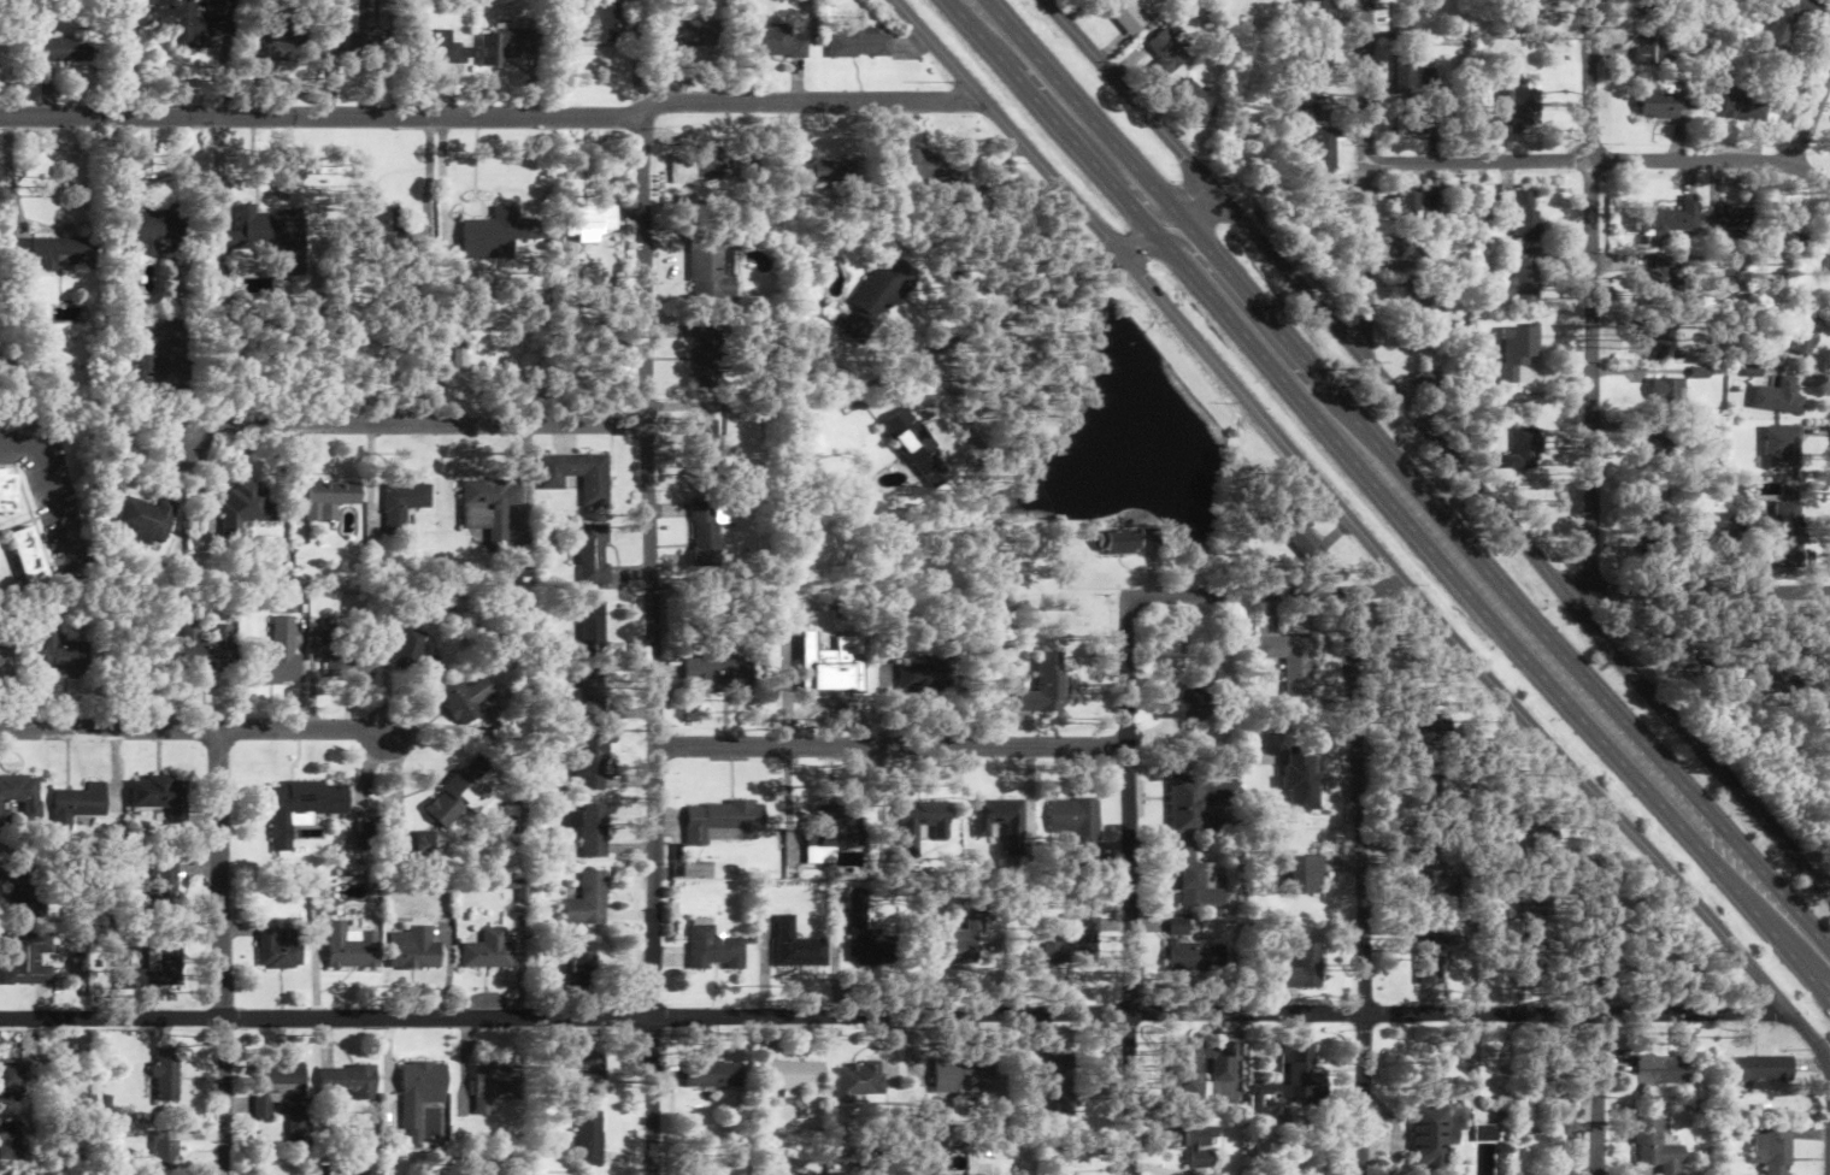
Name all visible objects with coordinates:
building: (1649, 0)
building: (1320, 10)
building: (1516, 10)
building: (1125, 14)
building: (182, 18)
building: (592, 20)
building: (1407, 20)
road: (967, 23)
building: (1785, 24)
building: (348, 29)
building: (685, 33)
building: (273, 36)
building: (776, 41)
building: (1652, 41)
building: (858, 43)
building: (502, 45)
building: (436, 48)
building: (66, 49)
building: (1167, 53)
building: (1412, 77)
building: (1196, 100)
building: (1664, 101)
building: (1741, 104)
building: (1306, 108)
building: (1513, 111)
road: (1810, 114)
road: (493, 116)
building: (1408, 120)
road: (1091, 122)
road: (1061, 129)
building: (1324, 147)
road: (1602, 160)
building: (710, 163)
building: (931, 166)
road: (218, 171)
building: (816, 172)
road: (7, 173)
road: (426, 173)
road: (440, 173)
road: (1365, 176)
building: (1322, 194)
road: (1193, 200)
building: (1419, 202)
building: (1520, 212)
building: (1665, 218)
road: (1154, 219)
building: (587, 222)
building: (1731, 222)
building: (379, 224)
building: (147, 228)
building: (254, 232)
building: (495, 234)
road: (1178, 234)
building: (1785, 238)
road: (1138, 246)
building: (1414, 248)
building: (53, 253)
building: (707, 265)
building: (1828, 266)
building: (1518, 277)
road: (1042, 282)
building: (1664, 282)
building: (876, 285)
road: (1589, 294)
building: (1422, 301)
road: (1270, 323)
building: (1805, 327)
building: (1659, 343)
building: (1517, 350)
building: (705, 354)
building: (142, 367)
building: (458, 384)
building: (1667, 391)
building: (1777, 396)
road: (410, 424)
road: (1440, 444)
building: (912, 447)
building: (1781, 447)
building: (1663, 448)
building: (1525, 449)
building: (704, 450)
building: (576, 476)
road: (51, 488)
building: (7, 491)
building: (328, 497)
building: (401, 504)
building: (243, 507)
building: (490, 508)
building: (146, 519)
road: (1353, 521)
building: (1781, 532)
building: (705, 533)
building: (1658, 533)
building: (1302, 537)
building: (1118, 542)
building: (589, 550)
building: (27, 556)
road: (1711, 589)
road: (1266, 594)
road: (1584, 595)
road: (1482, 606)
building: (590, 625)
road: (1829, 632)
building: (205, 644)
road: (651, 645)
building: (276, 649)
building: (60, 653)
building: (414, 656)
building: (349, 659)
building: (5, 660)
building: (1289, 660)
building: (826, 665)
building: (717, 672)
road: (1583, 677)
building: (922, 678)
building: (1776, 679)
building: (1042, 685)
building: (1196, 692)
building: (587, 693)
building: (465, 698)
road: (196, 727)
road: (890, 745)
building: (1424, 749)
building: (590, 763)
building: (1301, 779)
building: (463, 791)
building: (19, 795)
building: (164, 796)
building: (81, 802)
building: (1198, 804)
building: (302, 805)
building: (720, 822)
building: (998, 822)
building: (917, 823)
building: (1075, 827)
building: (589, 828)
building: (824, 828)
building: (1534, 837)
building: (424, 844)
building: (694, 869)
building: (1422, 870)
building: (1302, 875)
building: (166, 880)
building: (1193, 882)
road: (1358, 884)
road: (1125, 885)
building: (24, 891)
building: (588, 901)
building: (1534, 917)
building: (859, 934)
building: (953, 943)
building: (281, 945)
building: (352, 945)
building: (1067, 945)
building: (793, 946)
building: (414, 947)
road: (222, 950)
building: (488, 950)
building: (712, 950)
building: (1429, 955)
building: (584, 956)
building: (24, 958)
building: (1191, 958)
building: (164, 960)
building: (1298, 968)
road: (1596, 985)
road: (894, 1014)
road: (1823, 1055)
building: (594, 1068)
building: (1194, 1068)
building: (1761, 1068)
building: (1661, 1070)
building: (165, 1073)
building: (712, 1074)
building: (1296, 1074)
building: (790, 1075)
building: (965, 1077)
building: (11, 1081)
building: (854, 1081)
building: (348, 1082)
building: (498, 1084)
building: (1055, 1085)
building: (276, 1086)
building: (422, 1091)
building: (296, 1123)
building: (1484, 1133)
building: (1434, 1134)
building: (593, 1138)
building: (11, 1140)
building: (1191, 1144)
building: (1655, 1147)
building: (1772, 1149)
building: (164, 1151)

